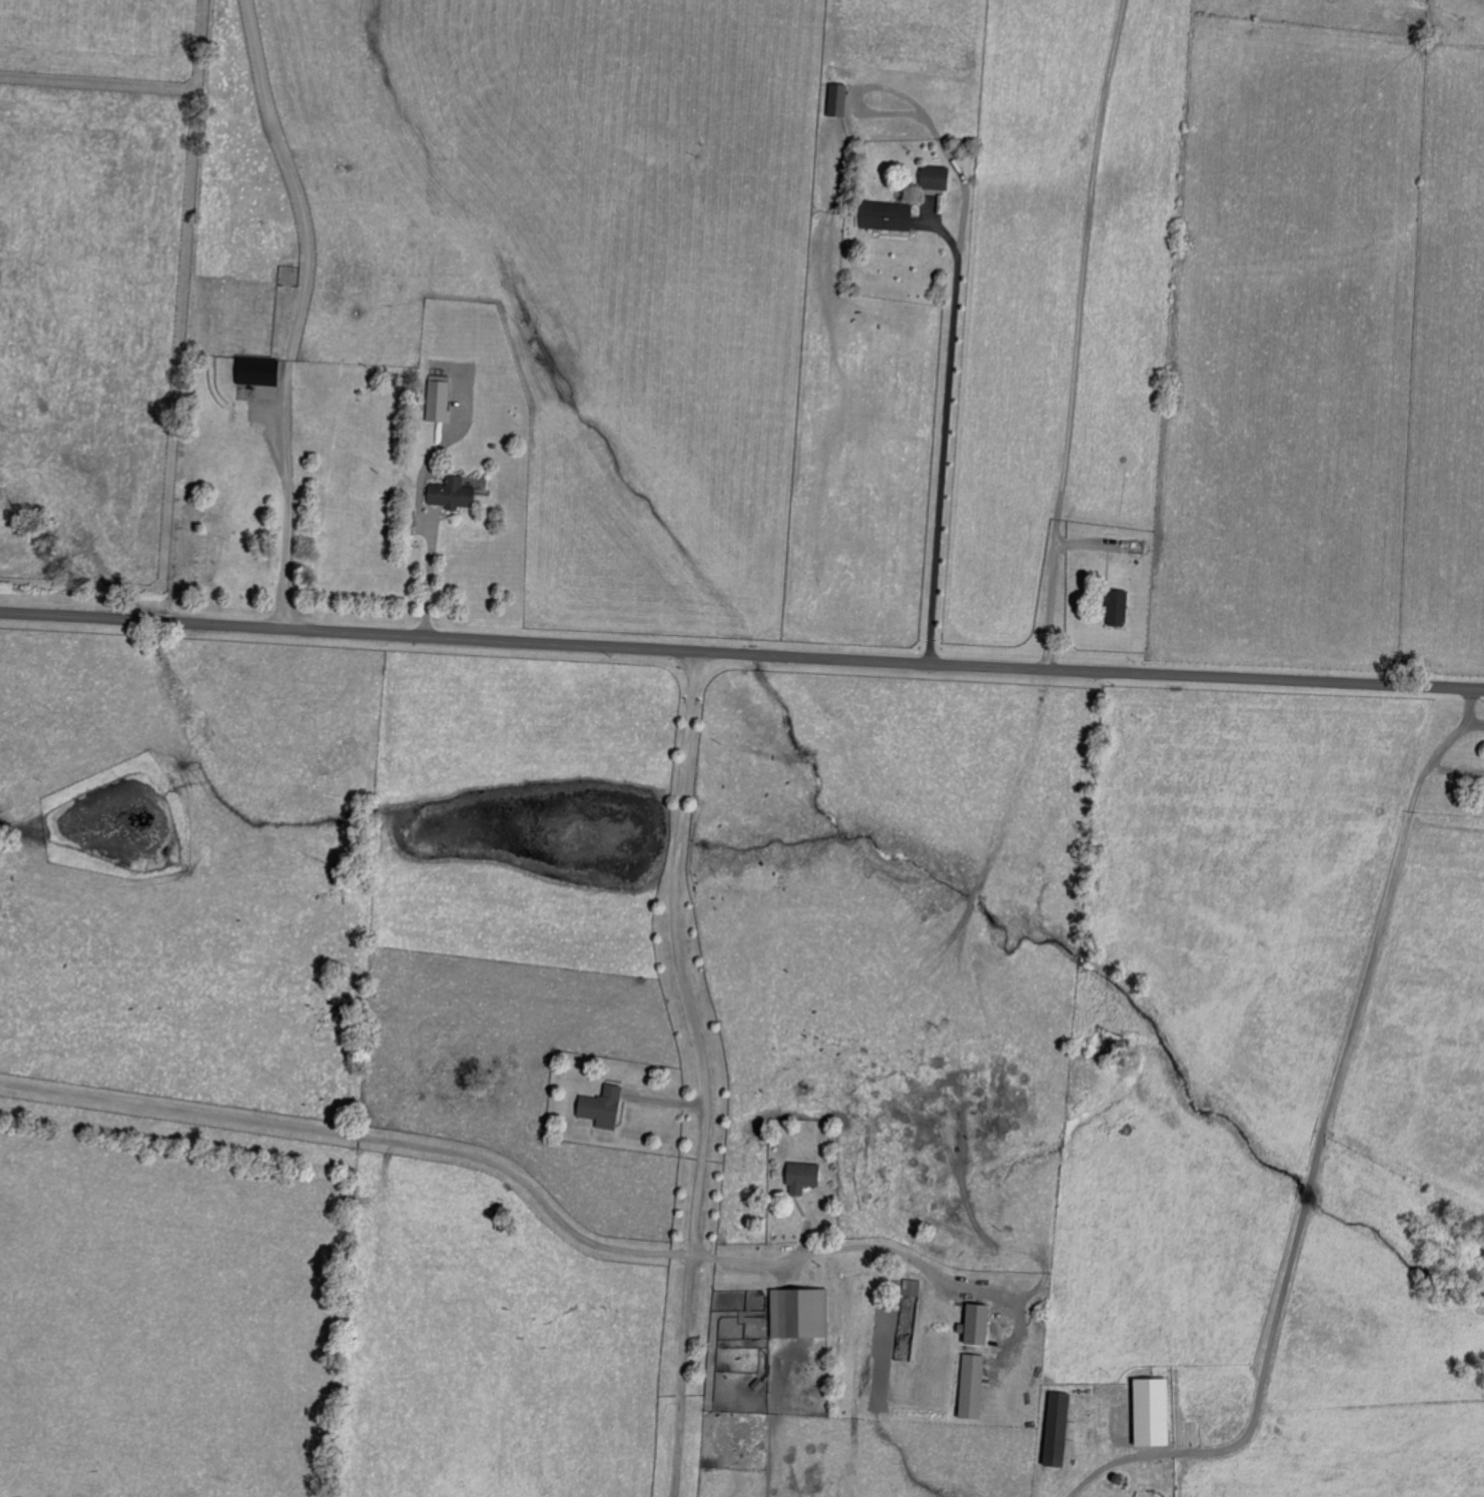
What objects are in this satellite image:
building: (835, 101)
building: (932, 178)
building: (883, 217)
road: (1083, 271)
road: (301, 310)
building: (255, 372)
building: (436, 401)
road: (945, 433)
building: (449, 495)
road: (1052, 583)
road: (429, 586)
building: (1113, 607)
road: (741, 653)
road: (694, 1018)
building: (599, 1107)
road: (1319, 1142)
road: (486, 1172)
building: (800, 1177)
building: (910, 1288)
building: (797, 1313)
building: (973, 1325)
building: (969, 1387)
building: (1149, 1412)
building: (1054, 1430)

